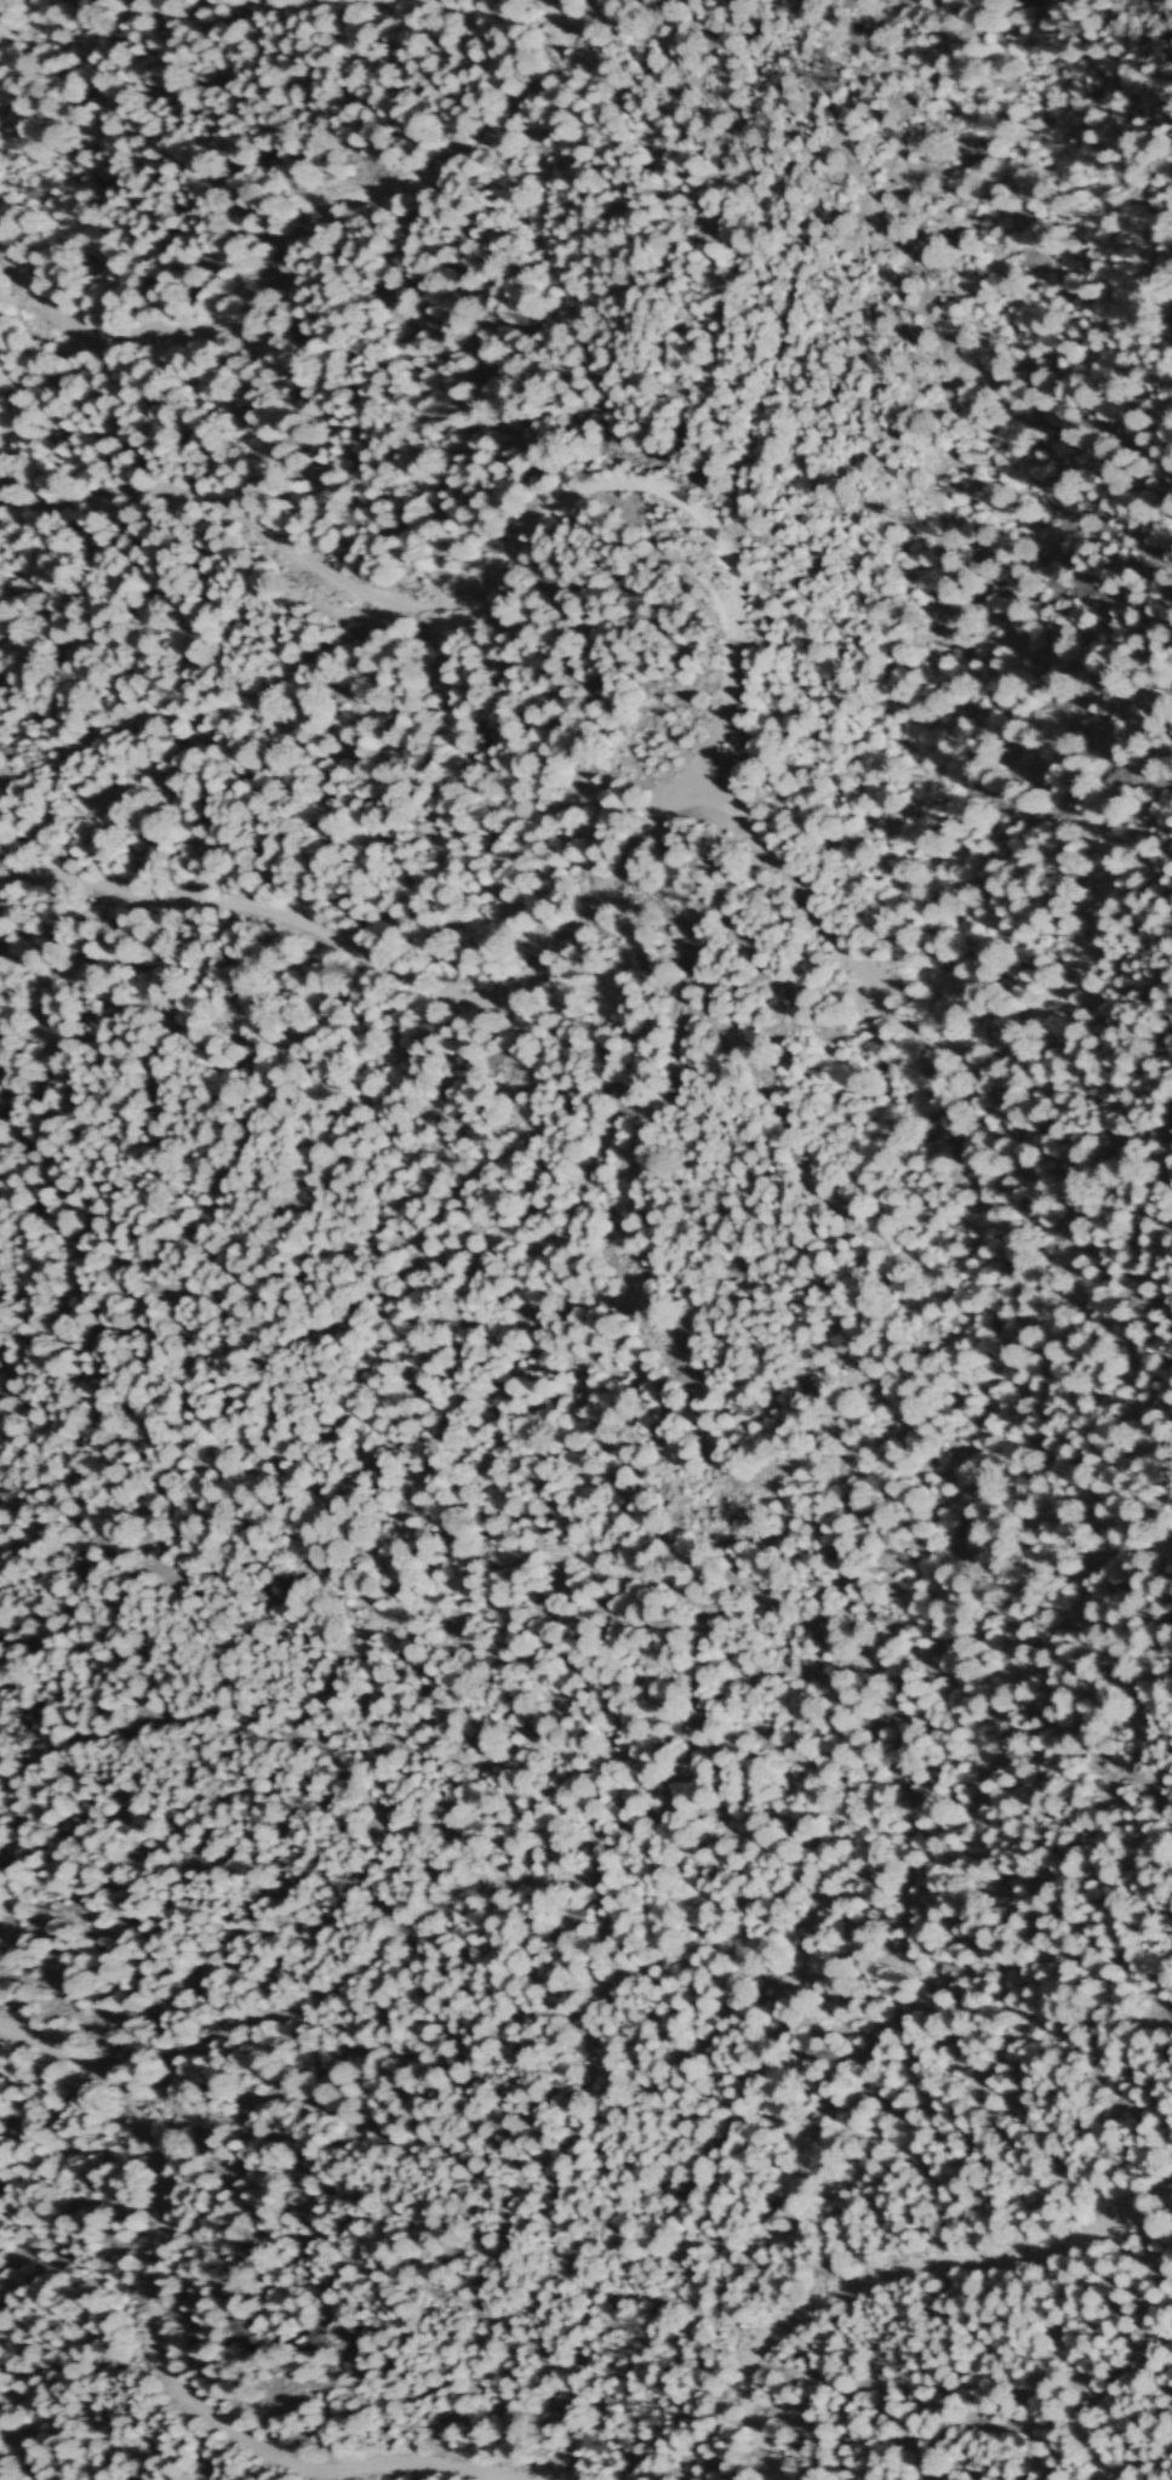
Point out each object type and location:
road: (950, 1061)

